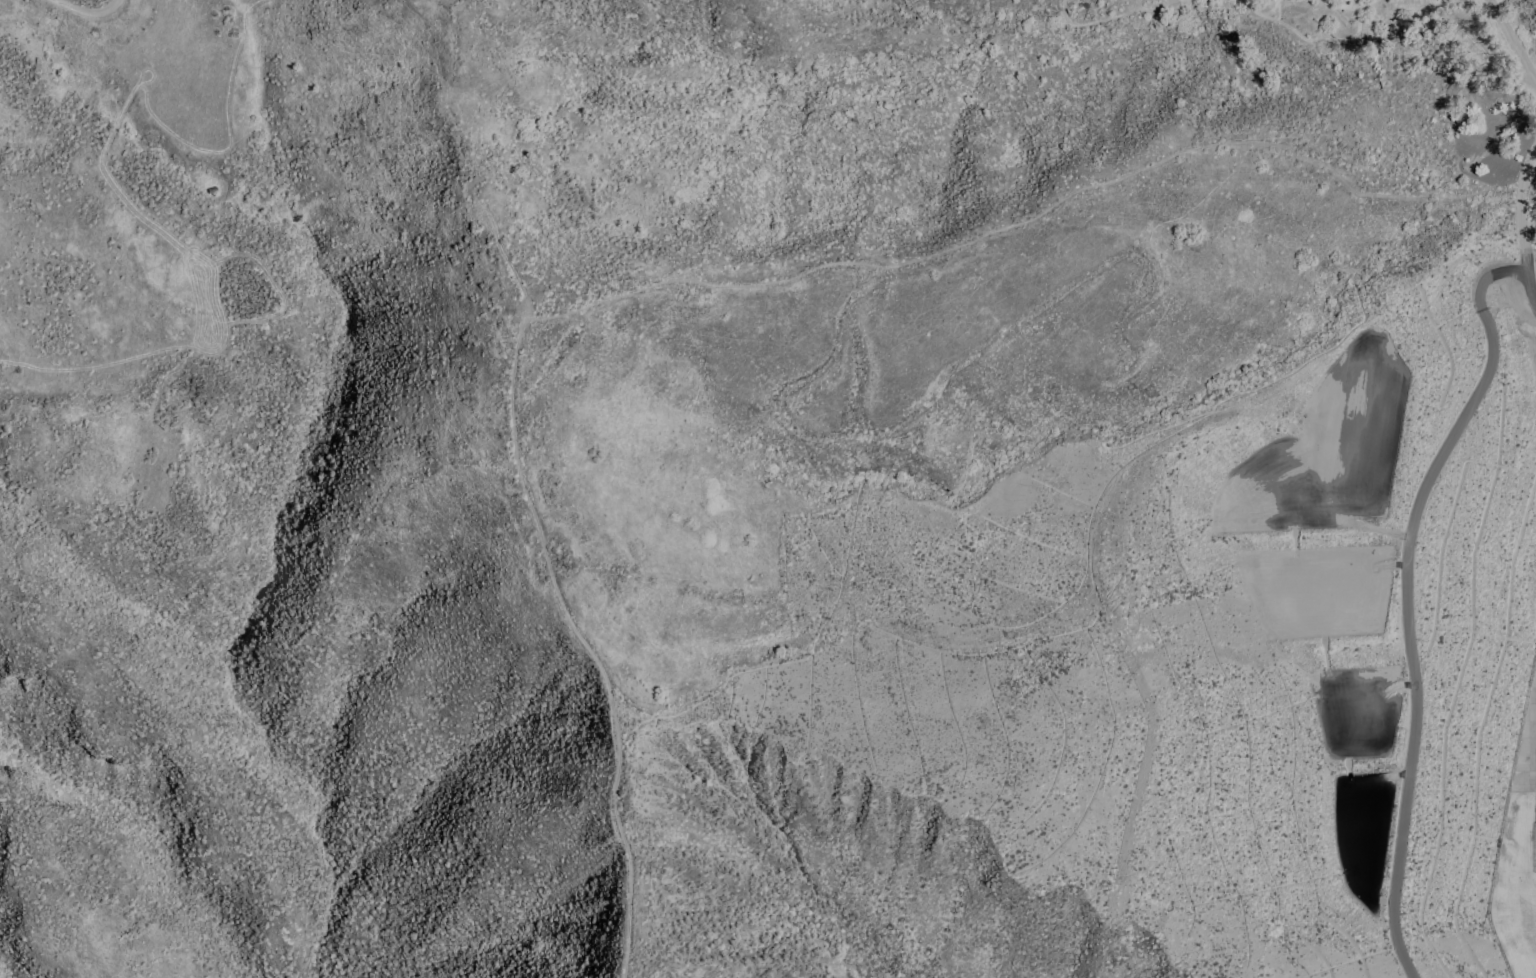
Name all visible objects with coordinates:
road: (89, 19)
road: (1513, 39)
road: (1520, 207)
road: (1488, 277)
road: (1531, 290)
road: (1409, 637)
road: (1532, 711)
park: (1516, 886)

